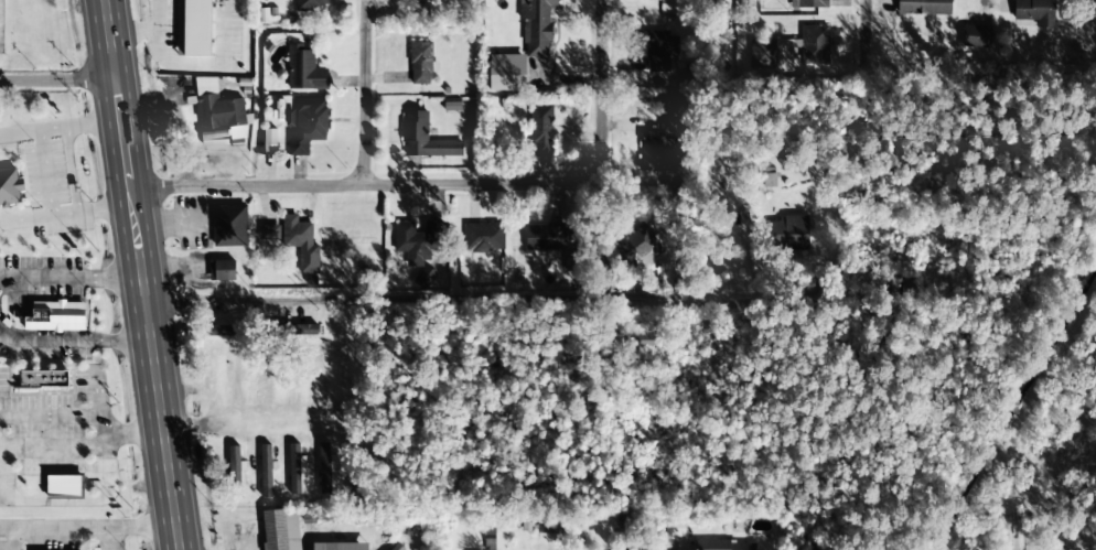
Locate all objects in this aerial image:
building: (745, 3)
building: (807, 3)
building: (310, 7)
building: (419, 7)
building: (923, 7)
building: (1034, 11)
building: (536, 26)
building: (193, 28)
building: (977, 36)
building: (657, 48)
building: (789, 51)
building: (421, 63)
building: (304, 69)
building: (506, 73)
road: (856, 74)
road: (57, 82)
road: (599, 90)
road: (361, 93)
building: (670, 105)
building: (218, 115)
building: (305, 125)
building: (540, 130)
building: (425, 138)
building: (269, 140)
building: (657, 147)
road: (359, 186)
building: (10, 187)
building: (229, 226)
building: (269, 233)
building: (789, 233)
building: (483, 237)
building: (545, 237)
building: (416, 241)
building: (301, 244)
building: (633, 248)
building: (222, 270)
road: (138, 274)
building: (900, 283)
road: (445, 303)
building: (55, 319)
building: (301, 331)
building: (642, 339)
building: (243, 377)
building: (43, 379)
building: (294, 380)
building: (340, 384)
road: (244, 417)
building: (237, 467)
building: (294, 470)
building: (266, 472)
building: (63, 486)
building: (674, 529)
building: (281, 530)
road: (1011, 536)
building: (724, 546)
building: (340, 547)
building: (397, 547)

